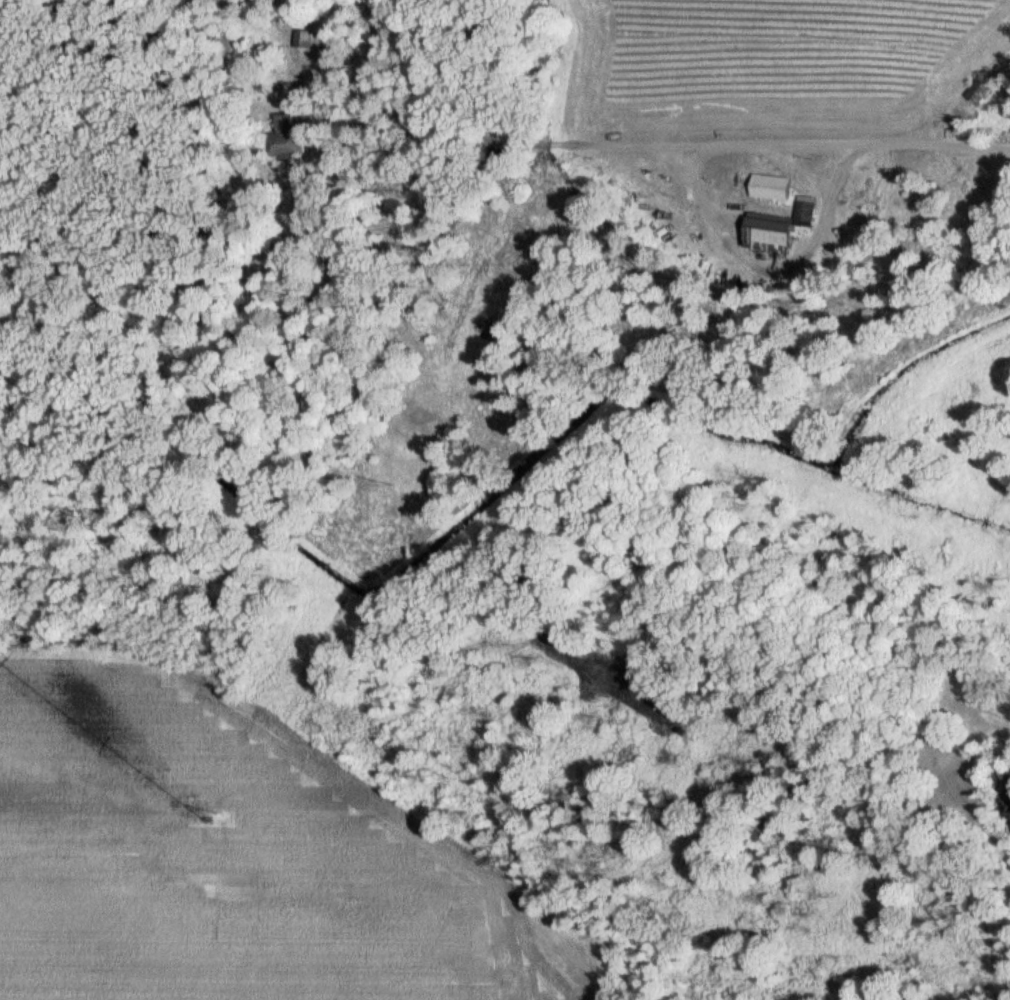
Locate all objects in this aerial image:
building: (306, 39)
building: (978, 91)
road: (801, 138)
building: (289, 139)
power tower: (576, 155)
building: (774, 188)
building: (781, 228)
power tower: (401, 485)
power tower: (231, 813)

